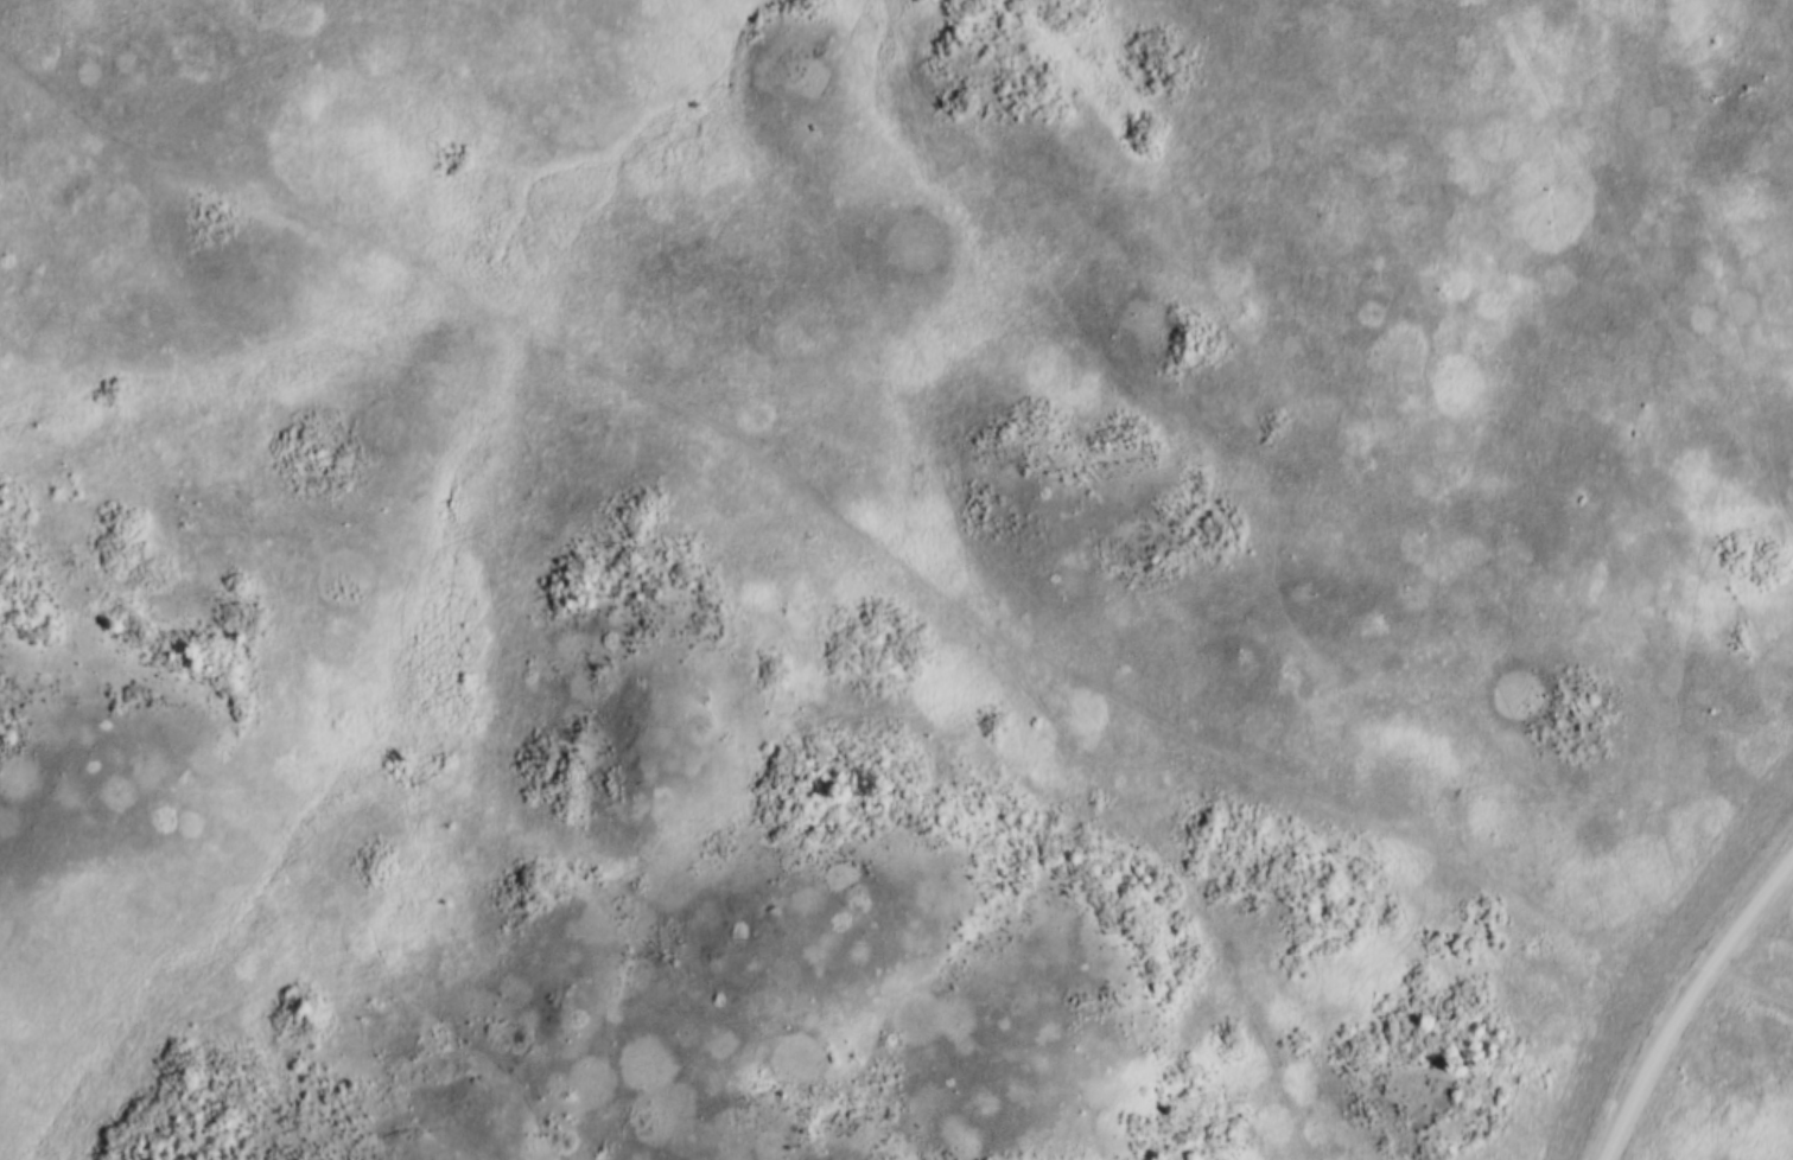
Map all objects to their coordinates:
road: (1677, 989)

